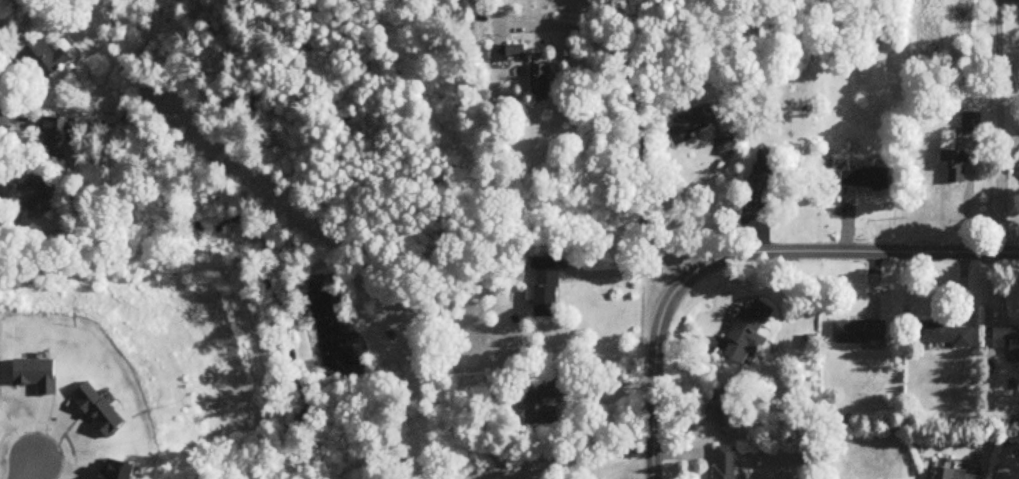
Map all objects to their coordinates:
building: (509, 54)
building: (46, 59)
building: (543, 84)
building: (971, 123)
road: (999, 126)
building: (688, 127)
road: (639, 129)
building: (58, 133)
building: (725, 147)
building: (953, 162)
building: (766, 179)
building: (866, 179)
building: (29, 195)
road: (680, 208)
road: (746, 255)
building: (547, 287)
building: (860, 332)
building: (748, 335)
building: (943, 335)
building: (1006, 341)
building: (545, 406)
building: (727, 413)
building: (725, 463)
road: (23, 472)
building: (956, 475)

